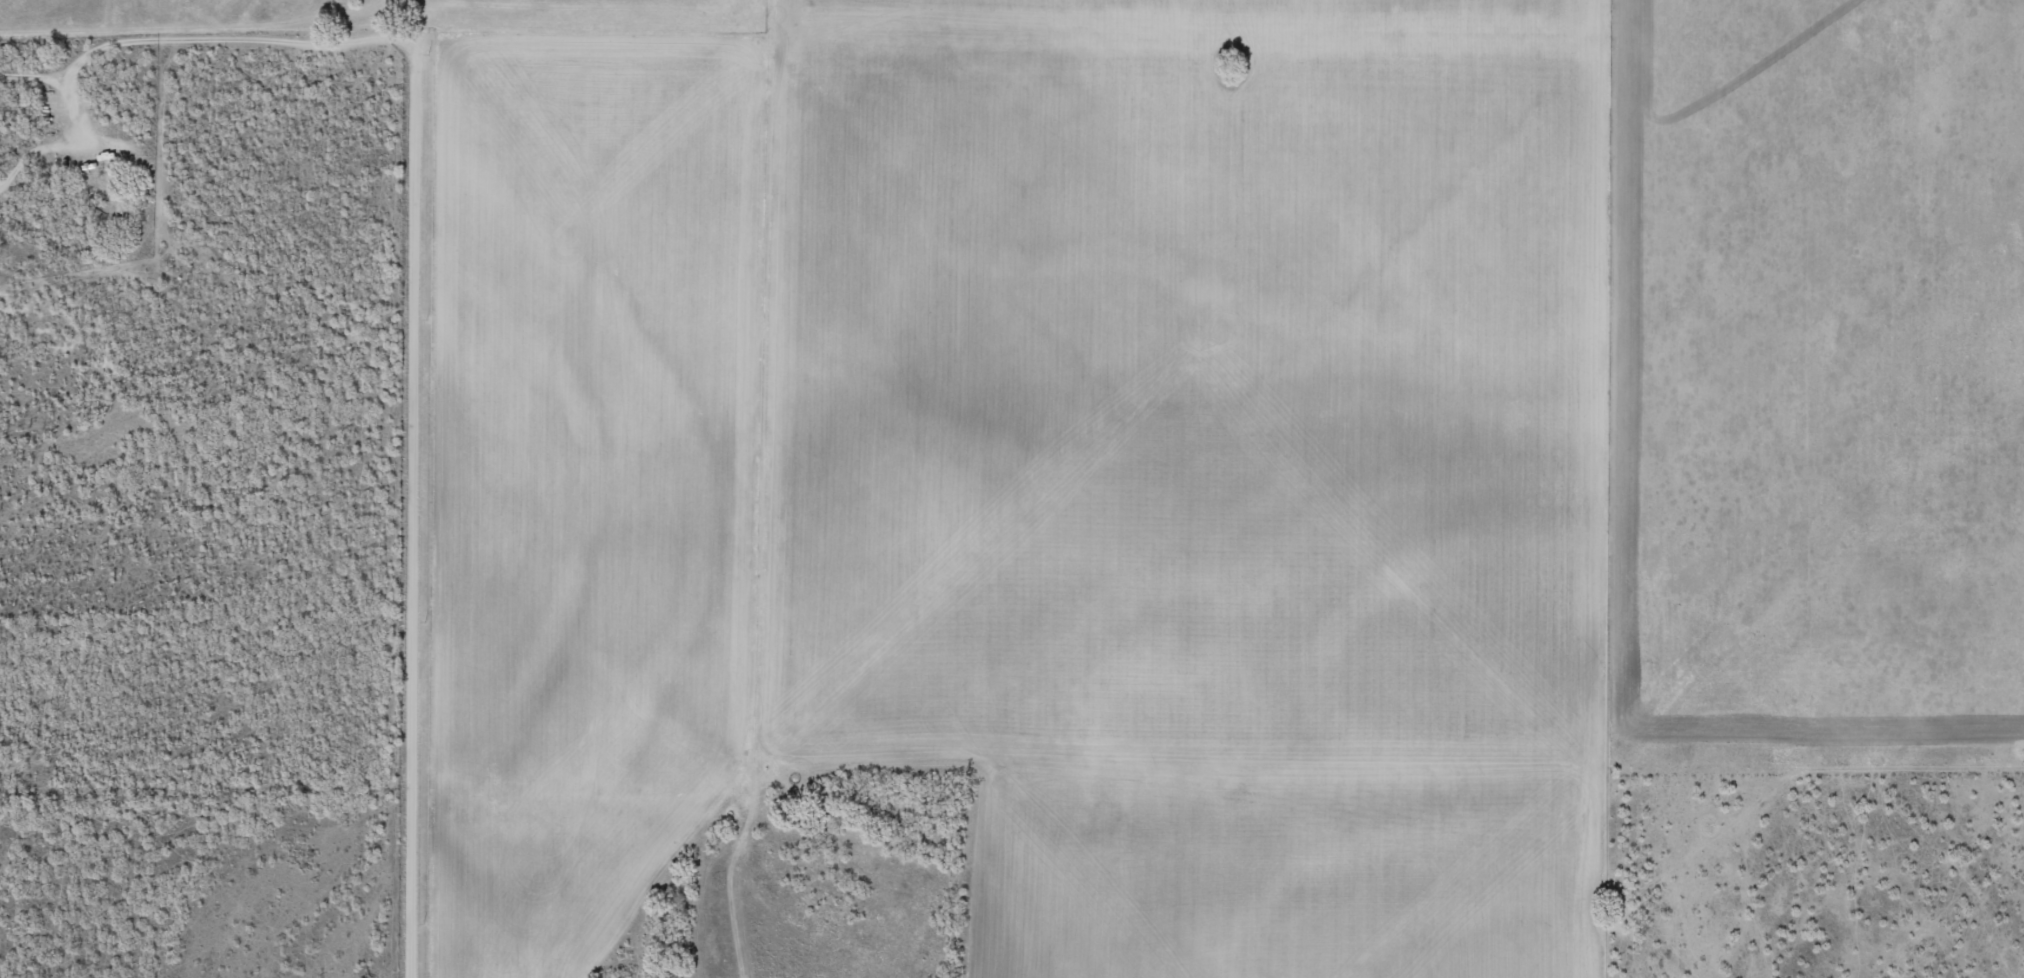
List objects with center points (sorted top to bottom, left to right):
road: (398, 51)
road: (438, 518)

